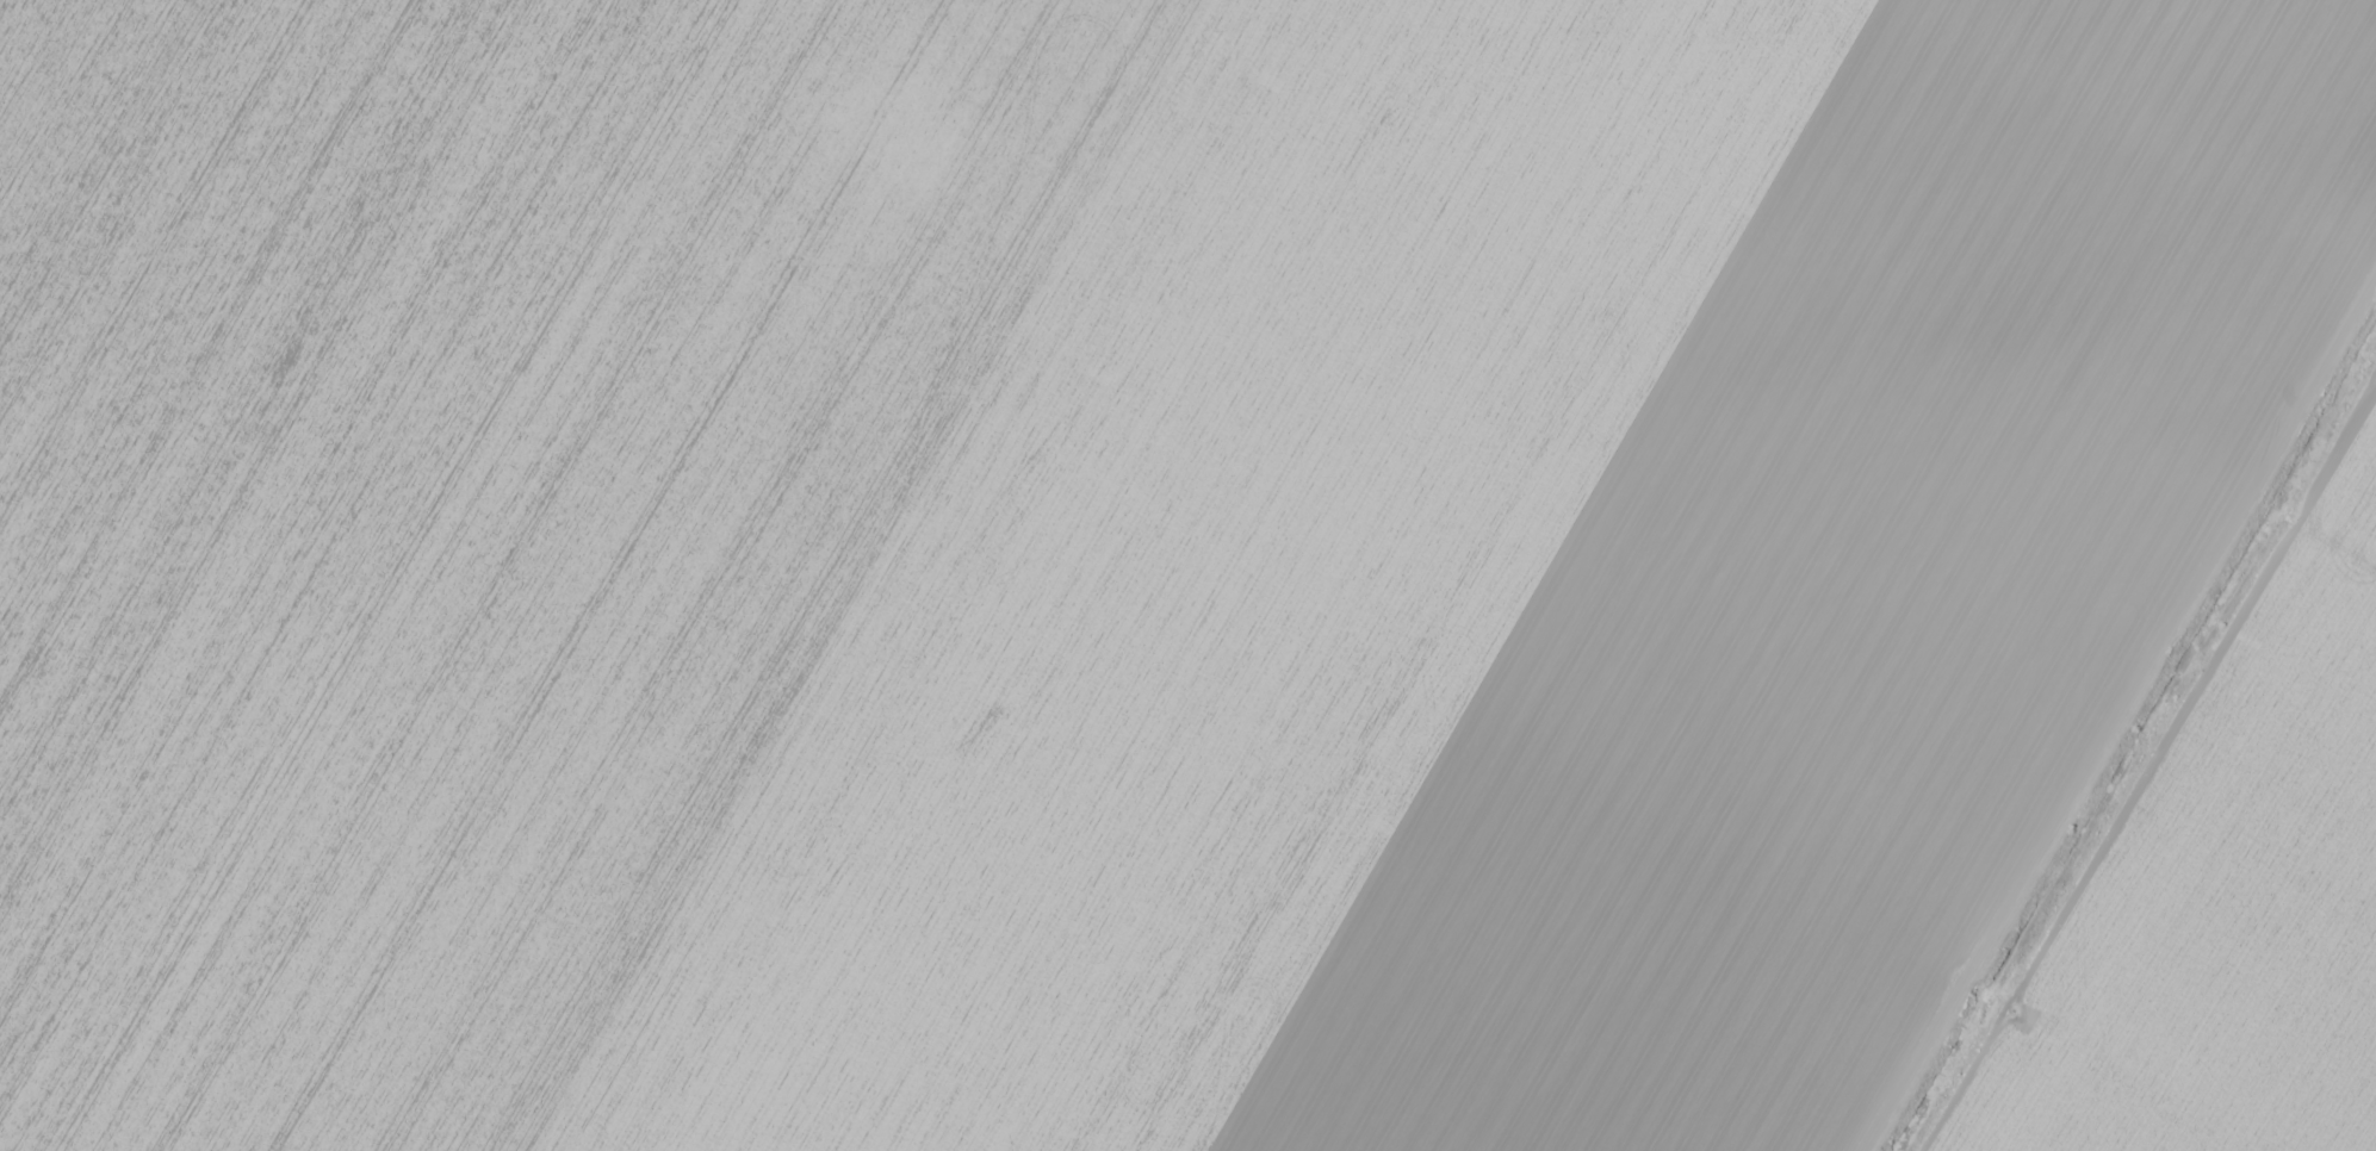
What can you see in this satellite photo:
road: (2118, 717)

